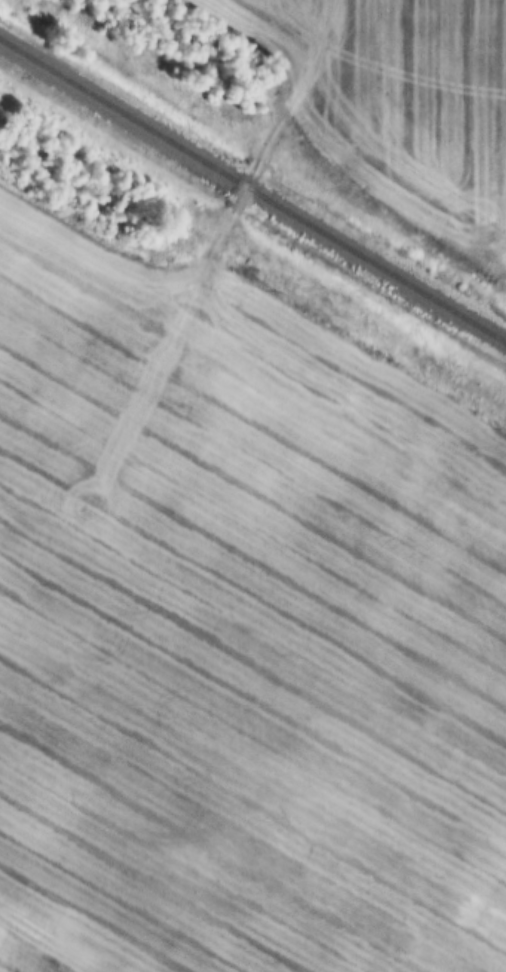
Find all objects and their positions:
railway: (253, 191)
road: (241, 194)

